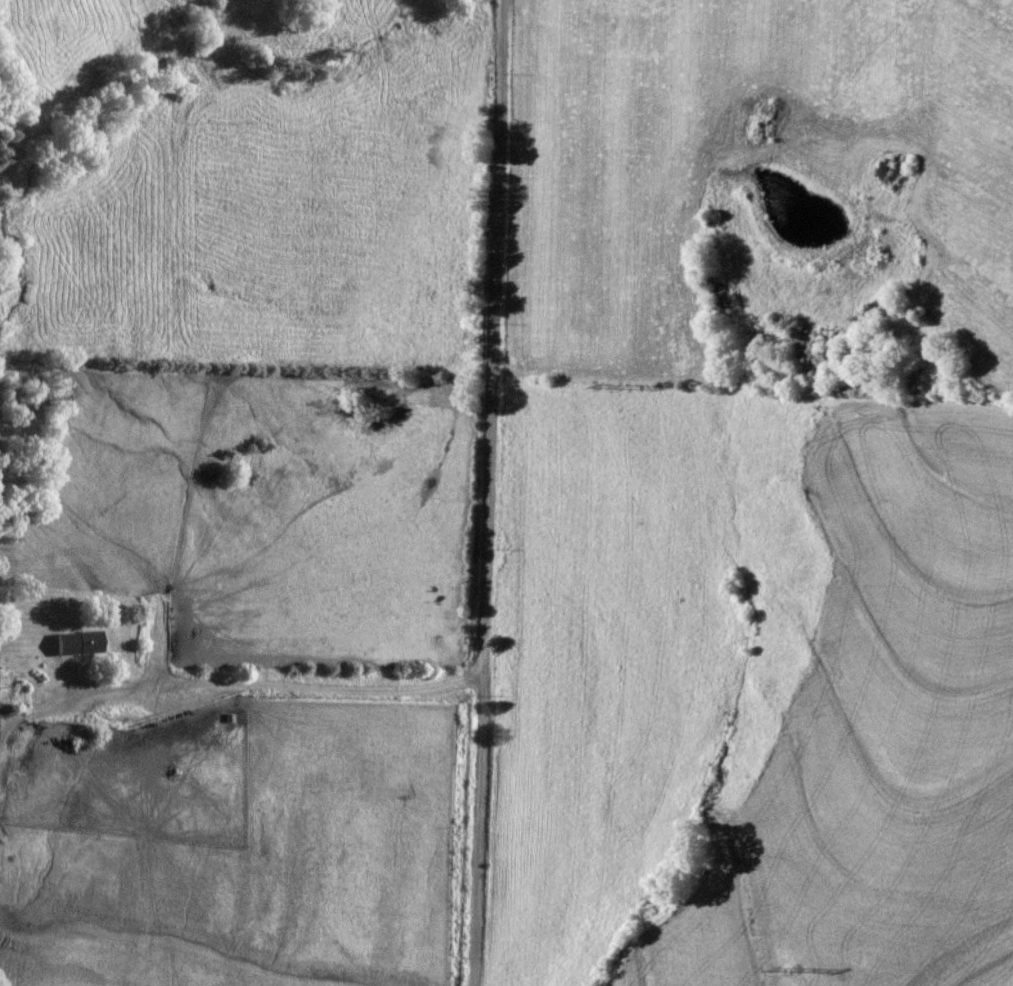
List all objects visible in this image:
road: (489, 493)
building: (80, 644)
road: (264, 681)
building: (169, 751)

